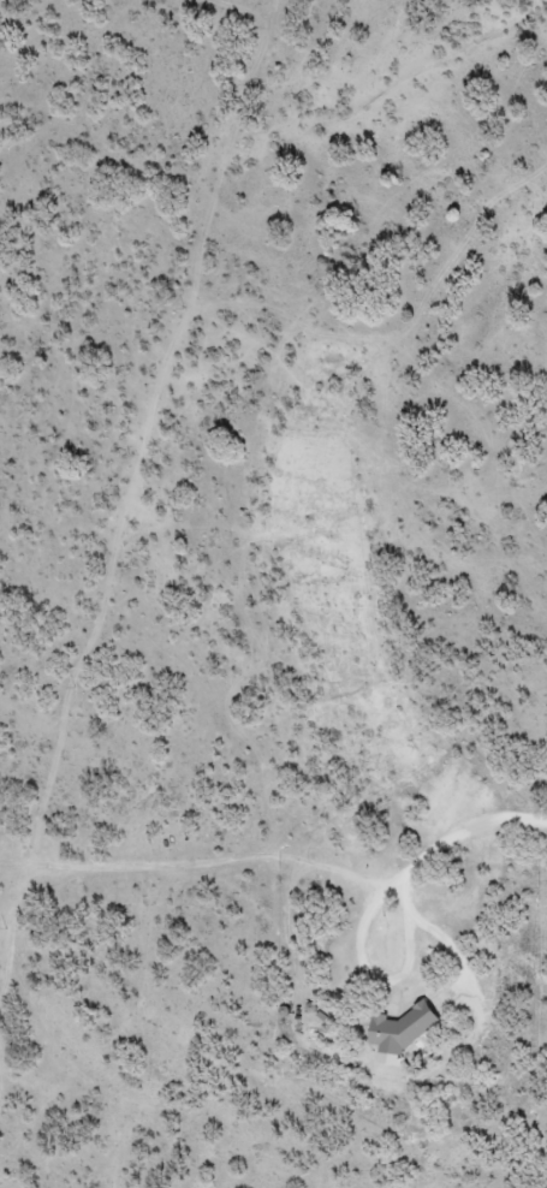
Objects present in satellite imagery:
road: (182, 470)
building: (402, 1028)

